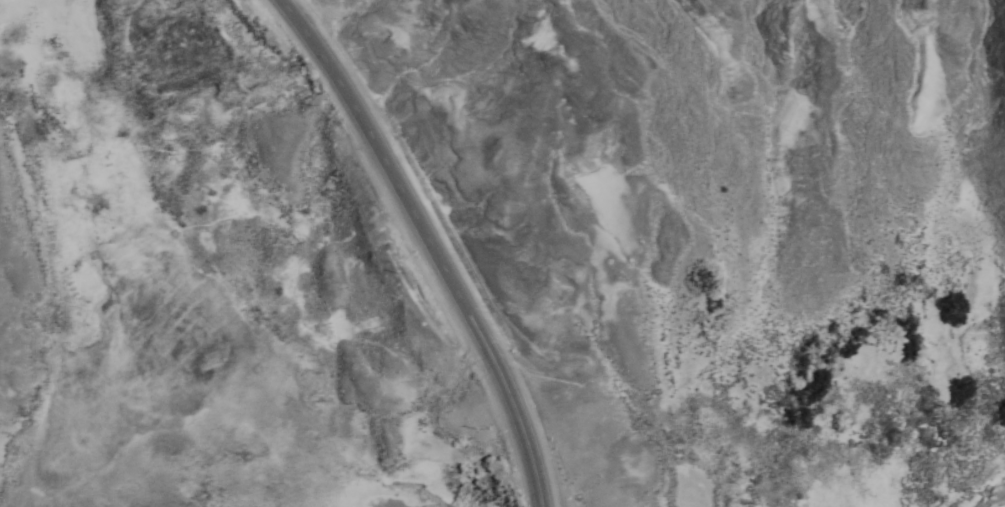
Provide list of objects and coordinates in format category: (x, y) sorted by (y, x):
road: (432, 243)

